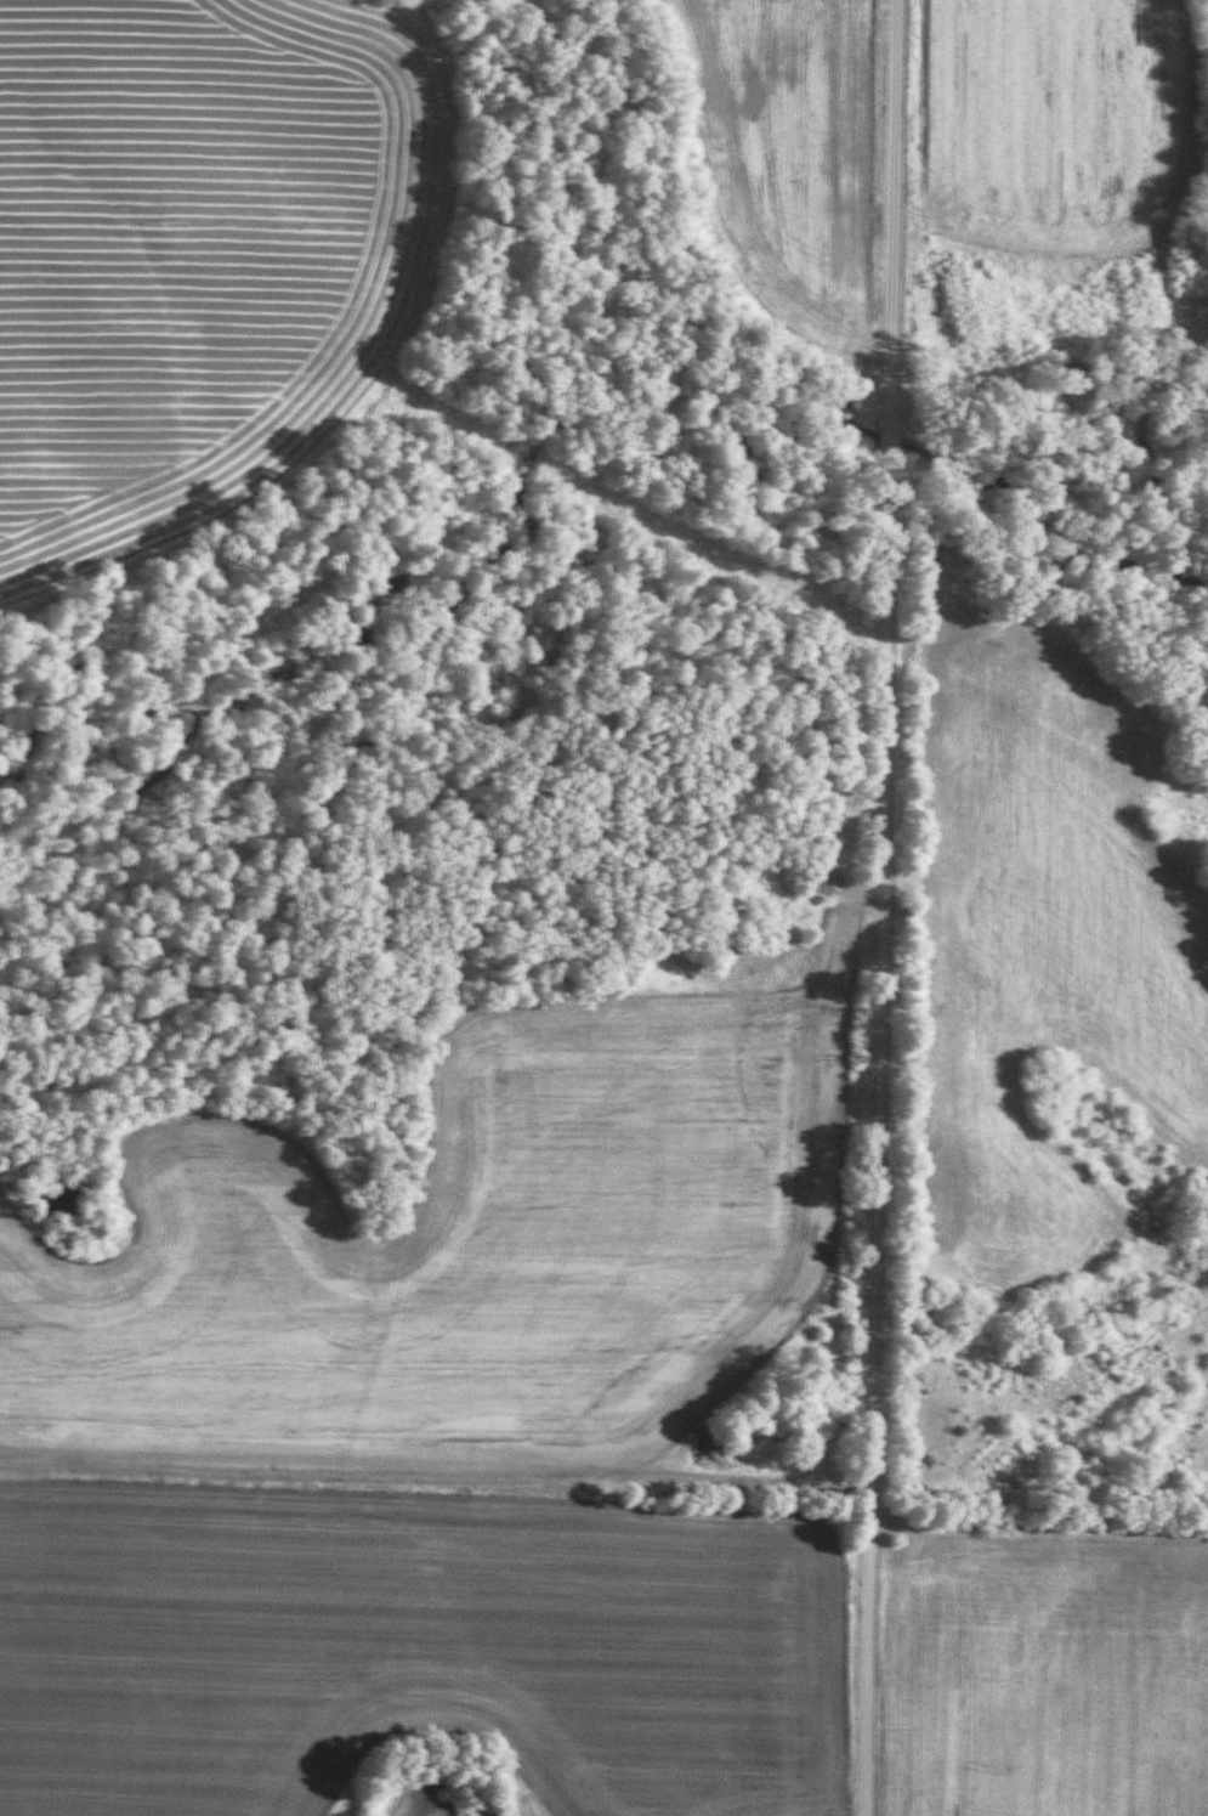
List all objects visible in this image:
road: (894, 907)
road: (1042, 1534)

